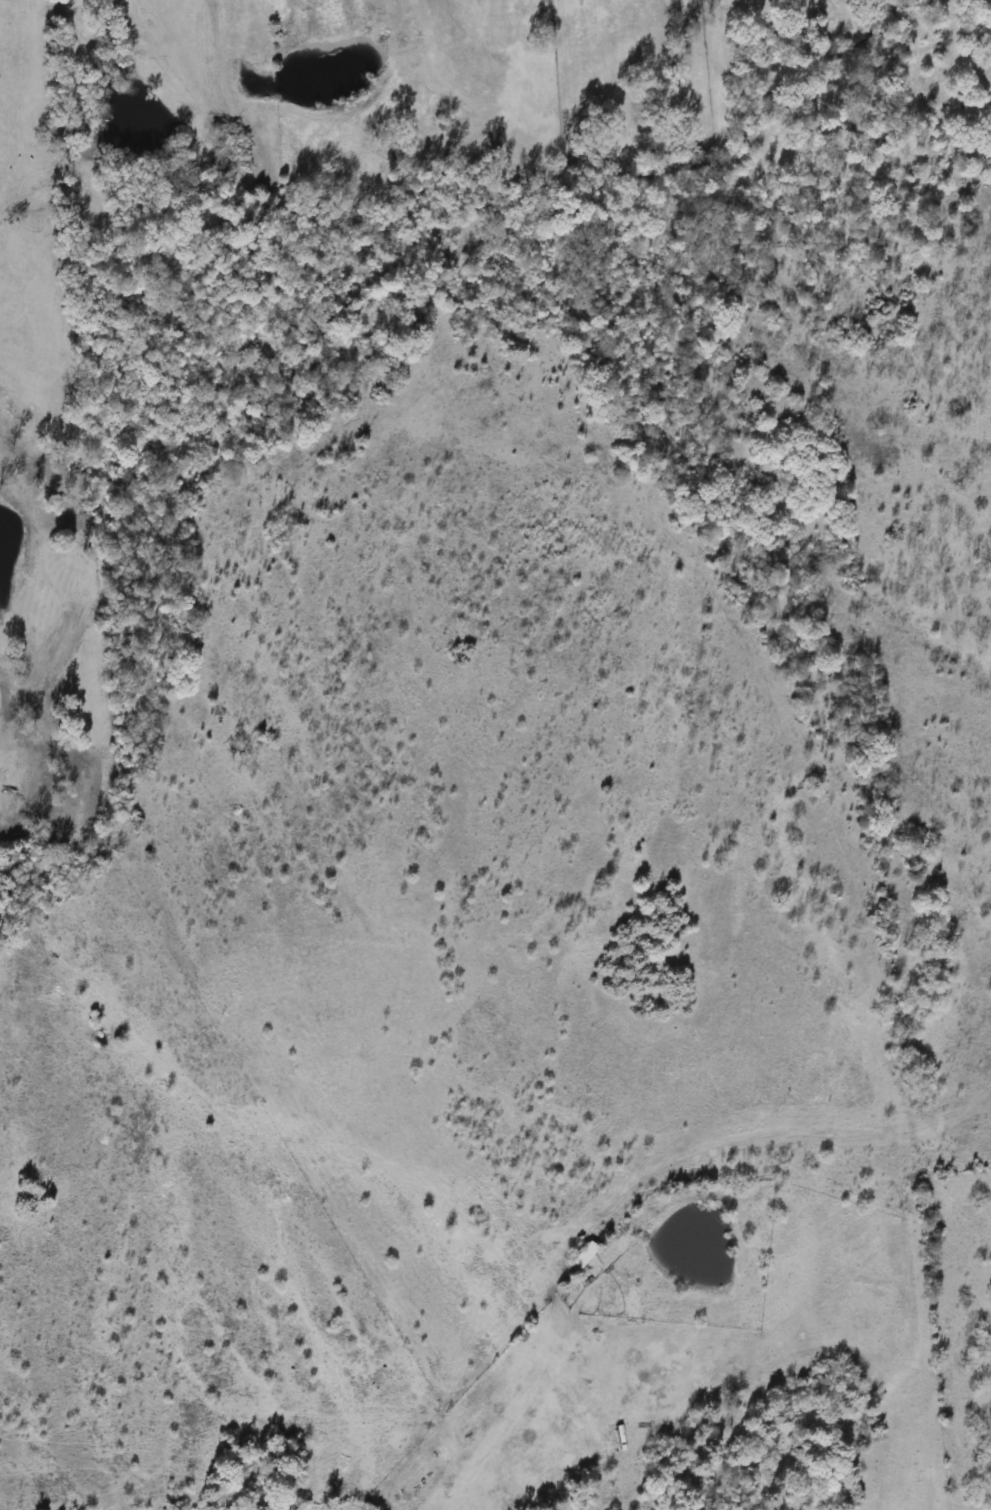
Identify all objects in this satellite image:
building: (580, 1255)

